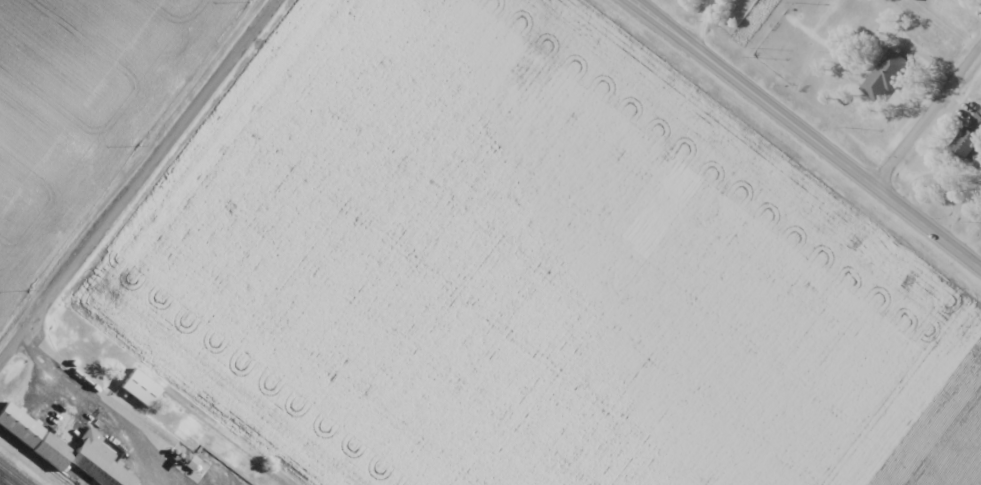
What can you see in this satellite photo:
building: (889, 77)
crop: (83, 109)
road: (929, 117)
road: (807, 132)
building: (970, 144)
road: (139, 180)
crop: (528, 272)
road: (63, 365)
building: (144, 390)
building: (21, 428)
railway: (13, 474)
railway: (63, 478)
railway: (5, 481)
road: (1, 483)

